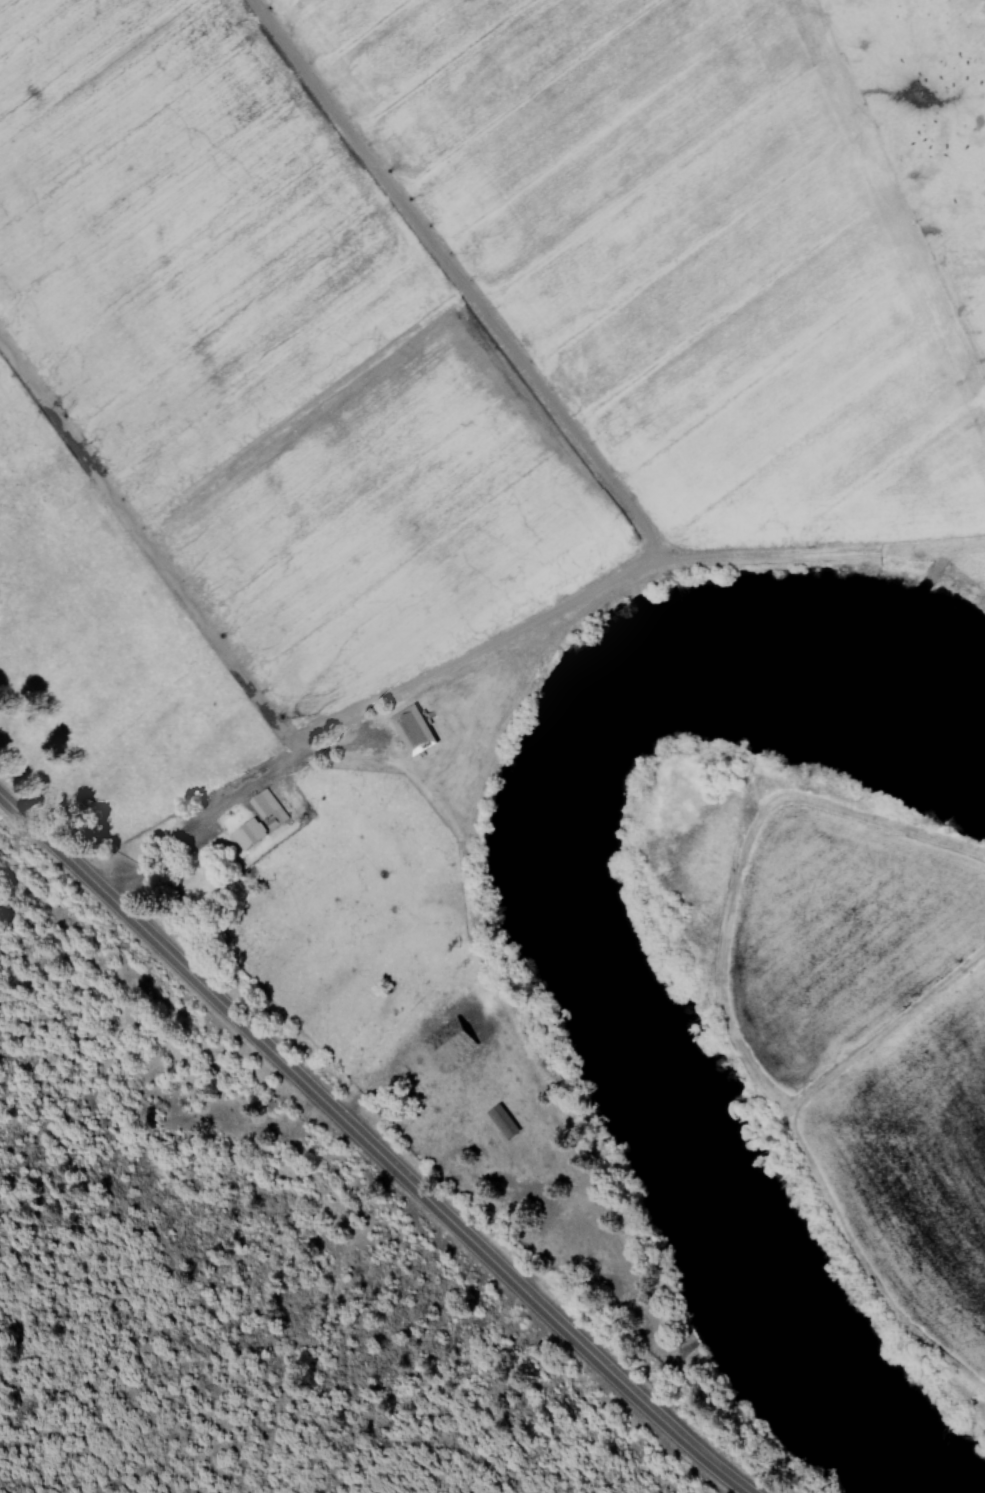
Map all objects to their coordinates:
building: (244, 832)
river: (583, 945)
building: (499, 1120)
road: (369, 1150)

